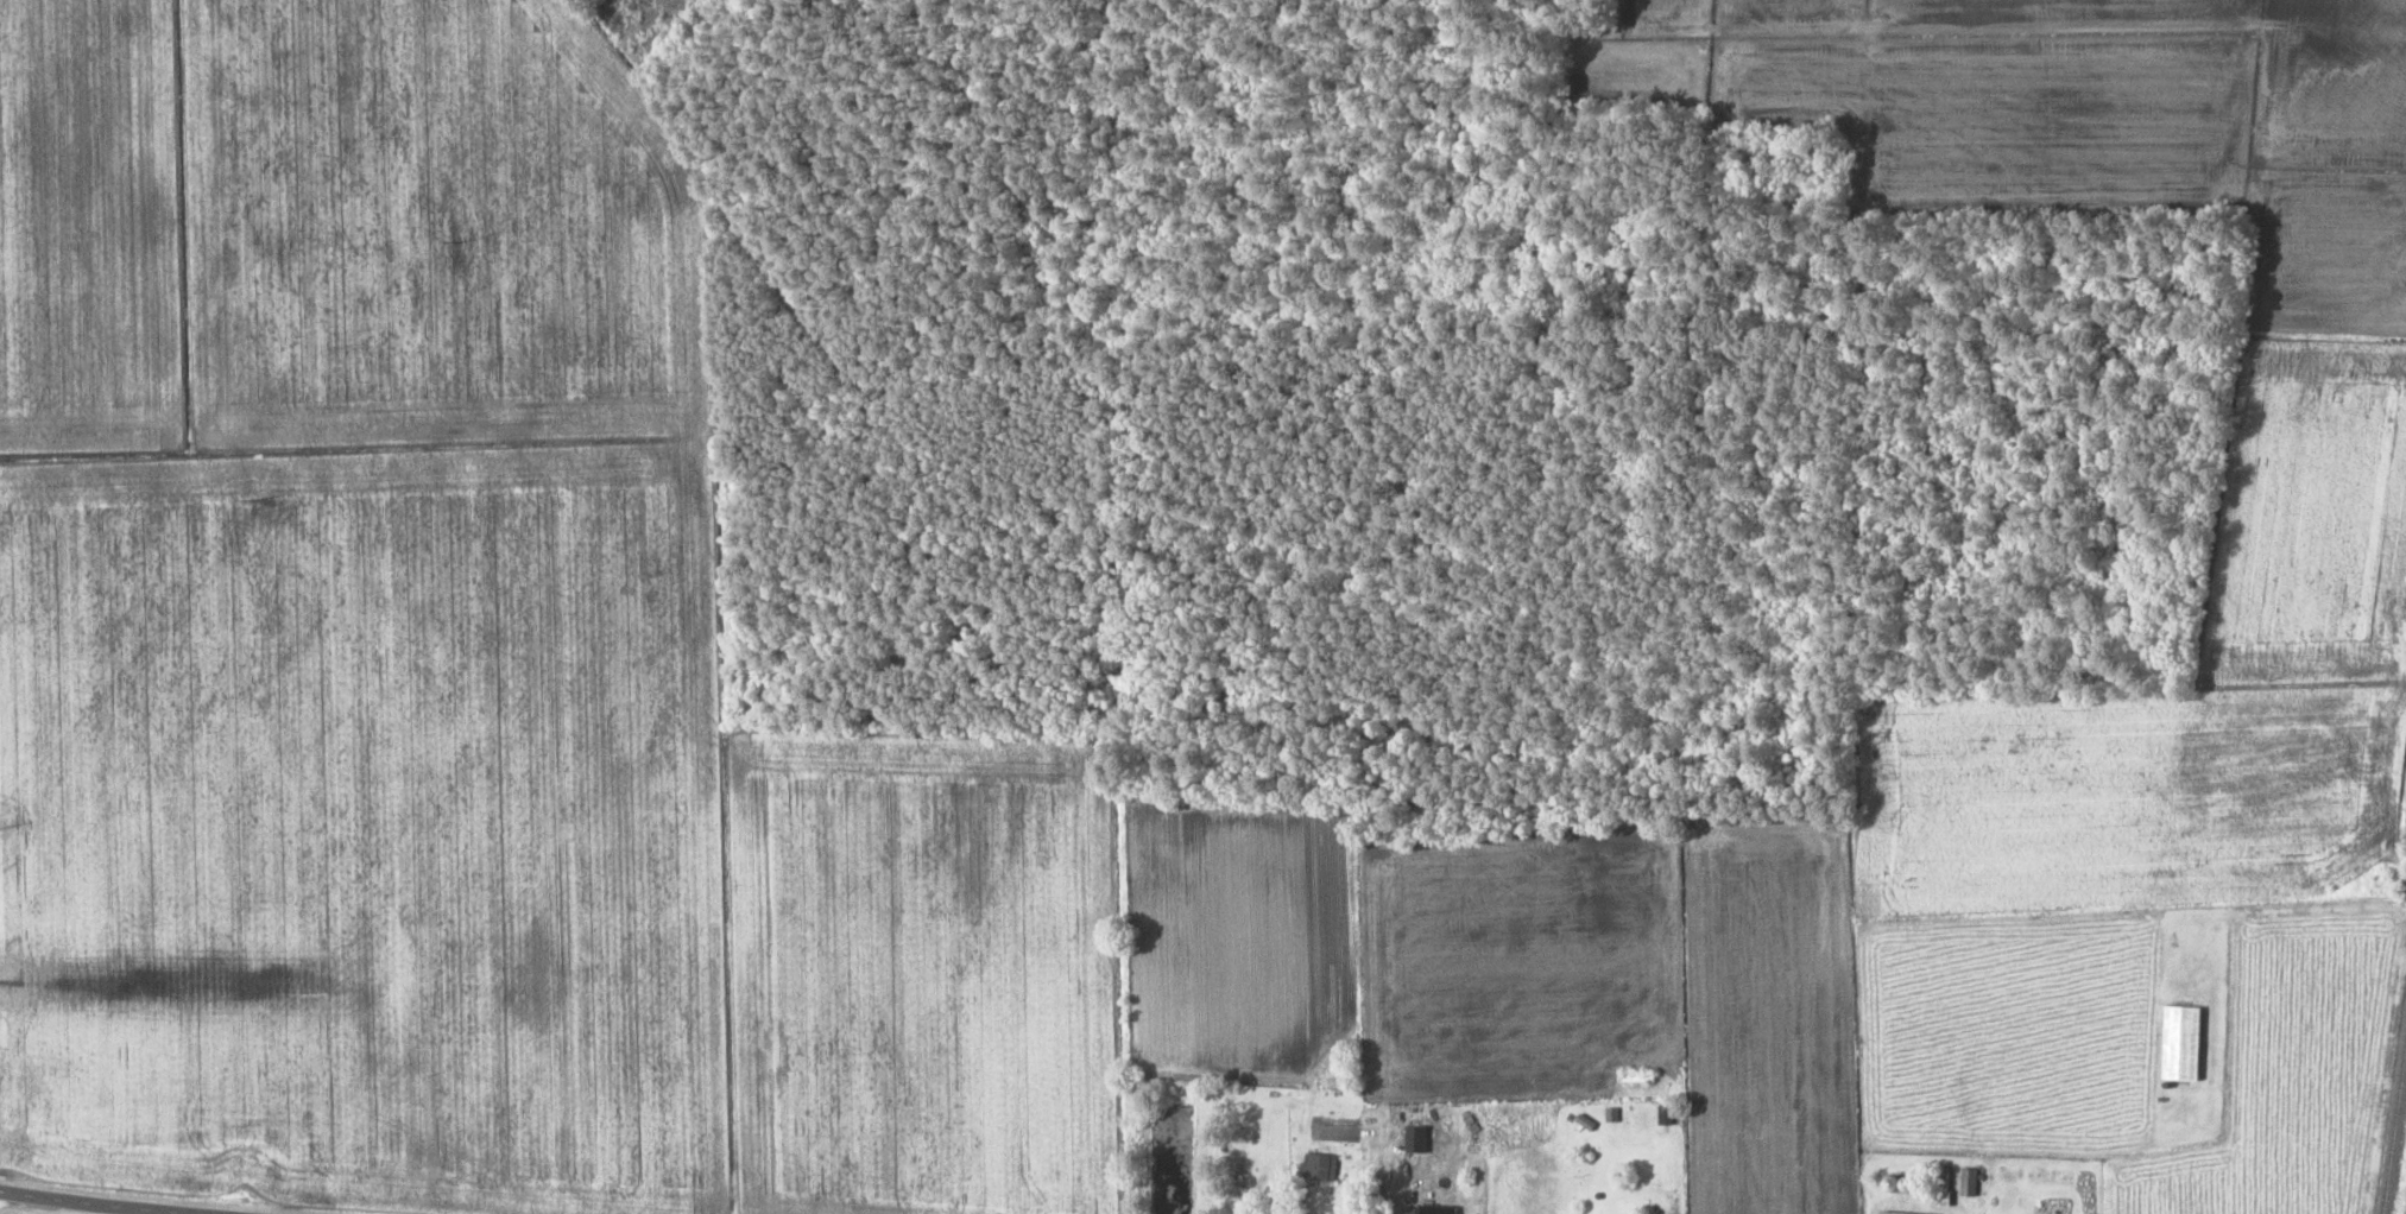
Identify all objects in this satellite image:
power tower: (460, 241)
power tower: (255, 500)
building: (2184, 1043)
building: (1637, 1079)
building: (1667, 1115)
building: (1635, 1123)
railway: (2394, 1127)
building: (1321, 1166)
building: (1970, 1182)
road: (257, 1203)
building: (1440, 1209)
building: (1895, 1213)

